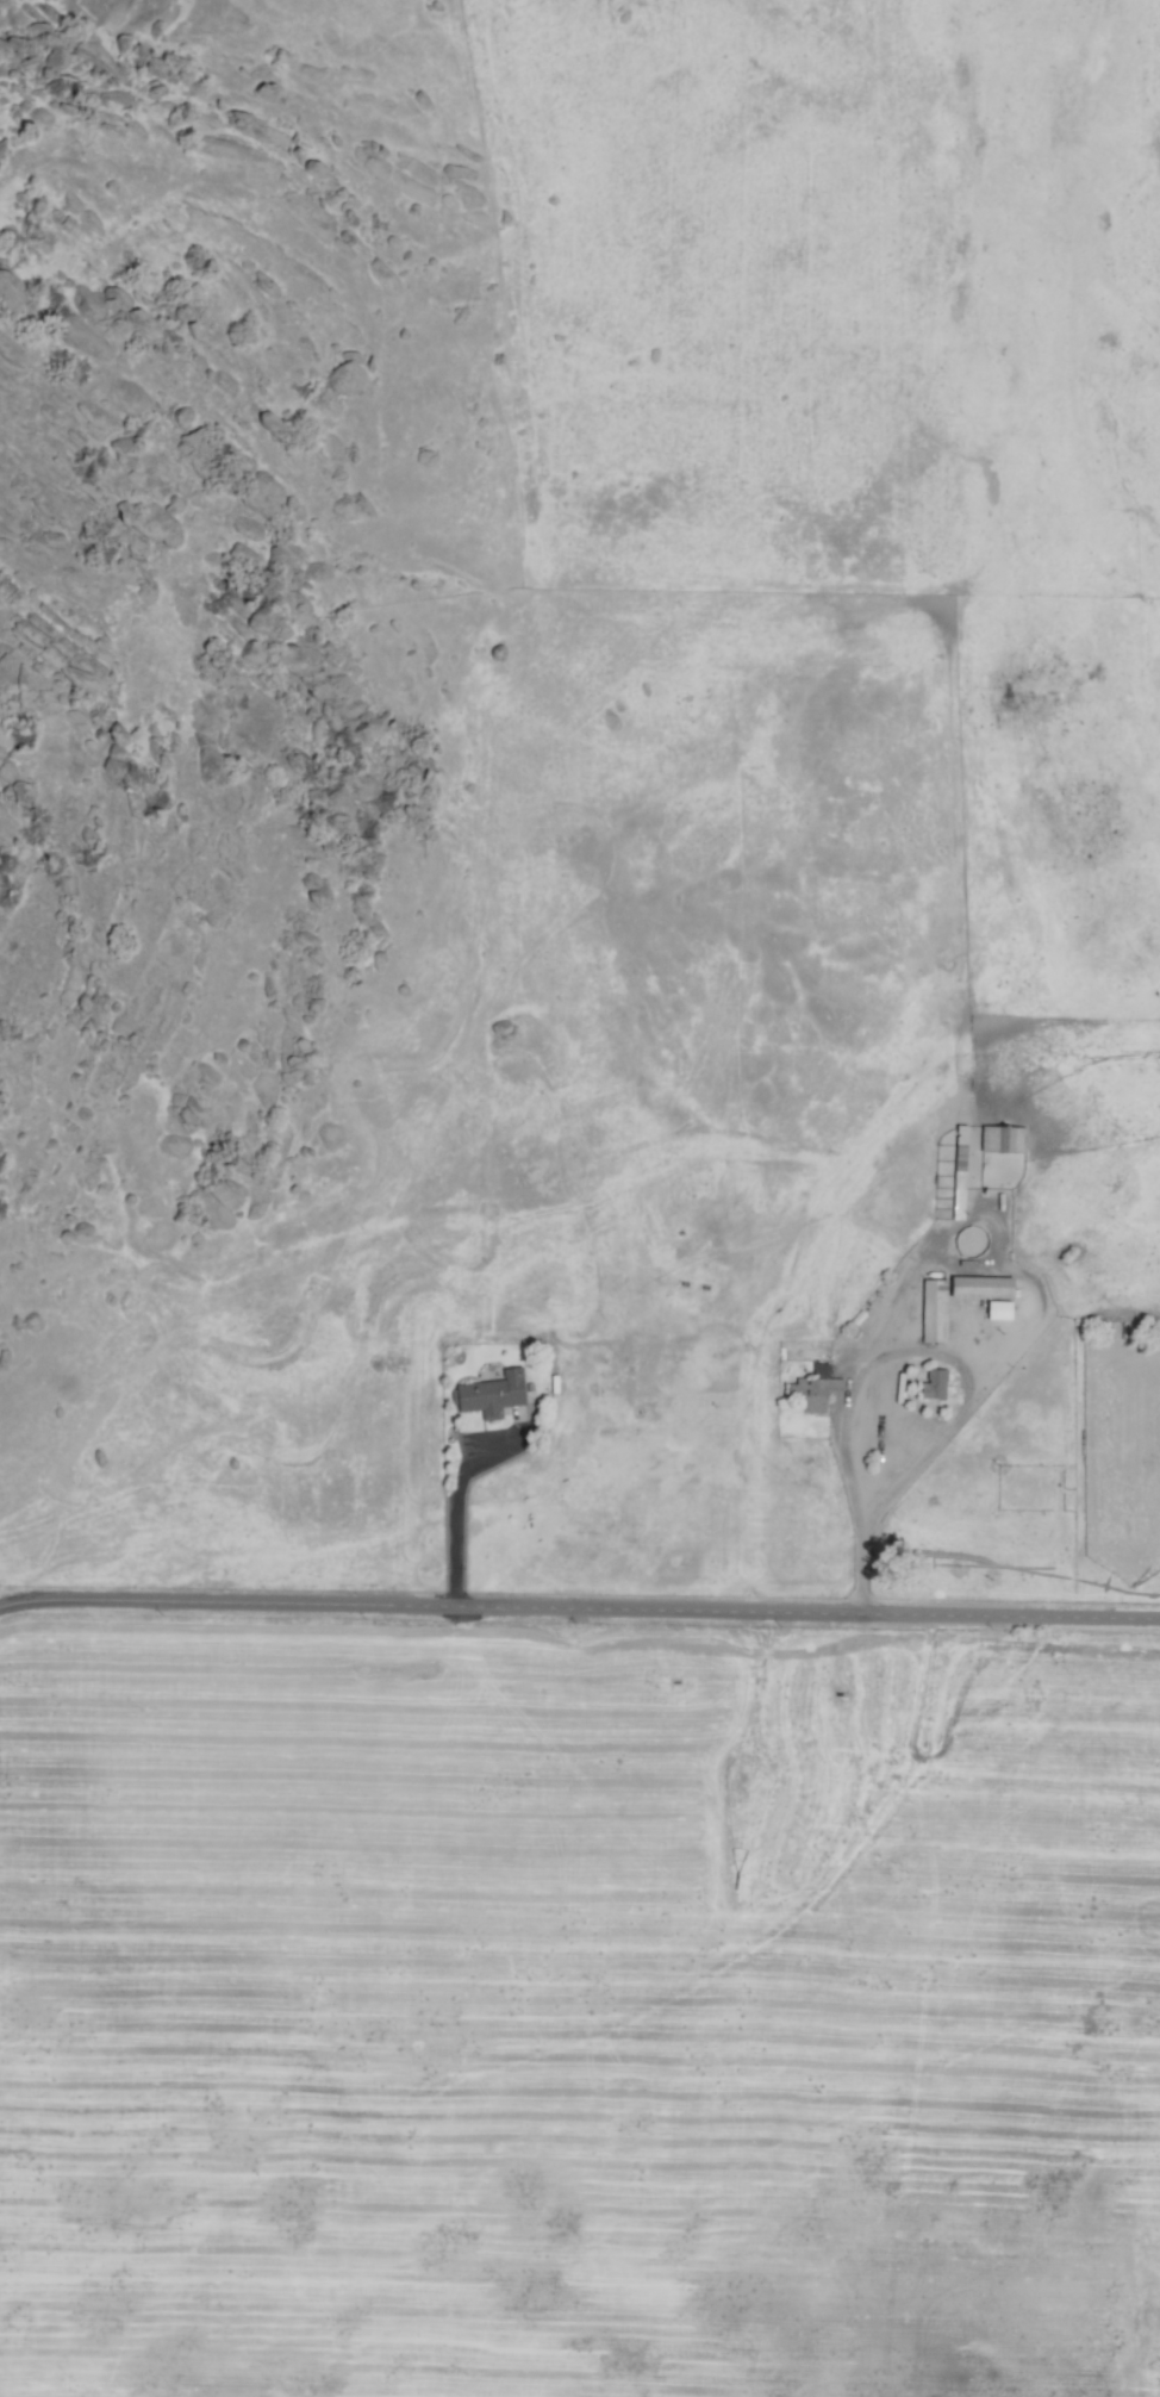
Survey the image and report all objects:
crop: (1065, 805)
crop: (650, 1190)
building: (986, 1287)
building: (1003, 1309)
building: (937, 1310)
building: (937, 1384)
building: (817, 1393)
building: (494, 1394)
road: (867, 1433)
road: (453, 1523)
road: (579, 1607)

